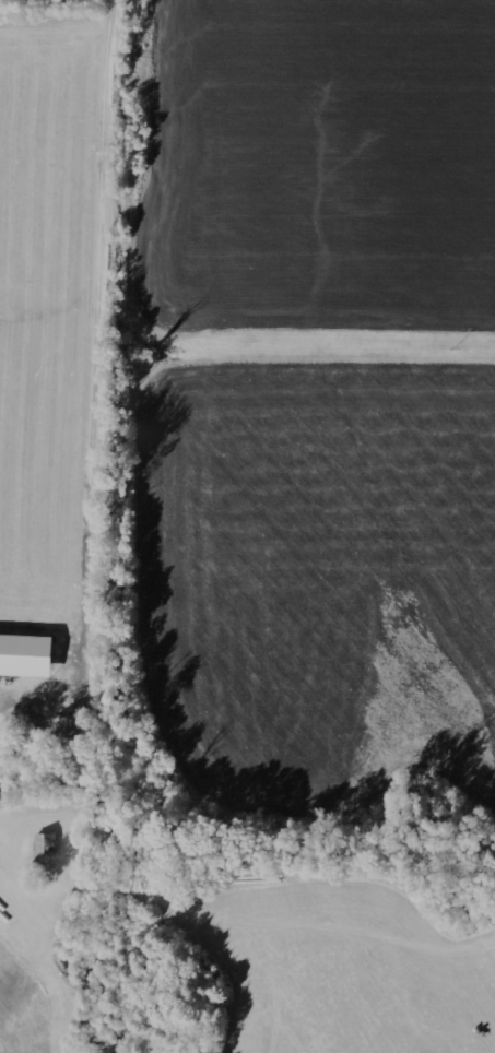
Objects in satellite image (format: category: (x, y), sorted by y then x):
road: (109, 98)
building: (25, 656)

